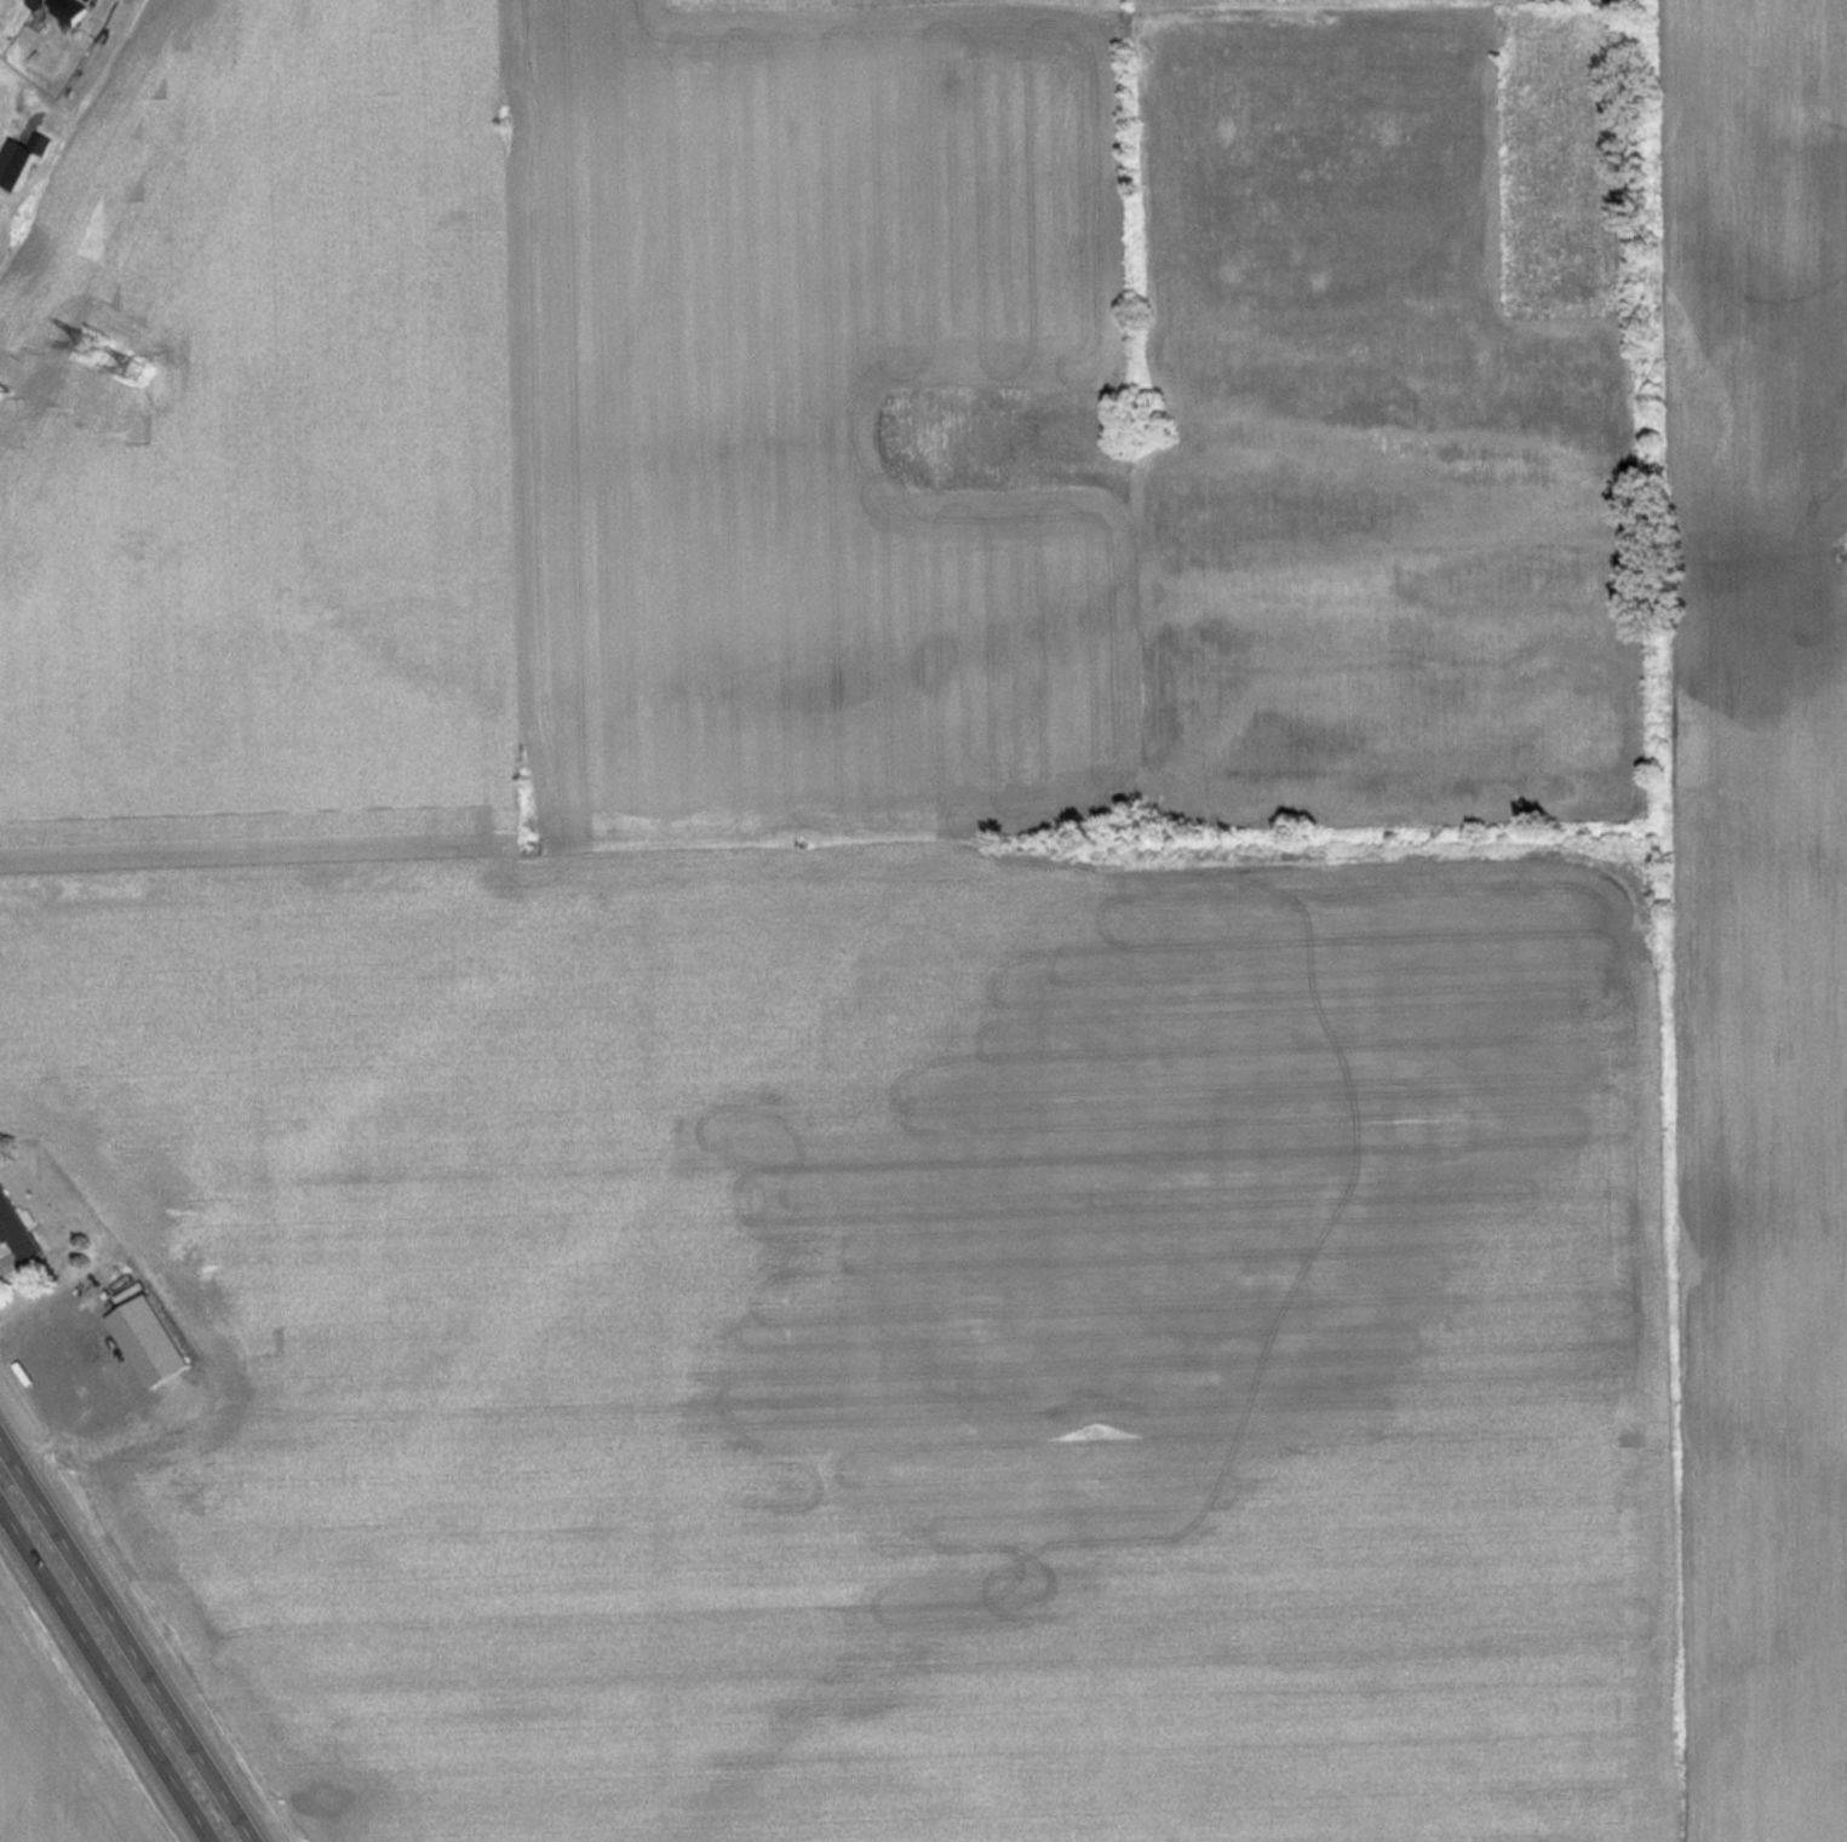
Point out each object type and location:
building: (59, 8)
building: (18, 159)
power tower: (91, 343)
power tower: (137, 367)
power tower: (6, 388)
building: (15, 1233)
building: (147, 1343)
road: (67, 1416)
road: (131, 1632)
road: (104, 1674)

